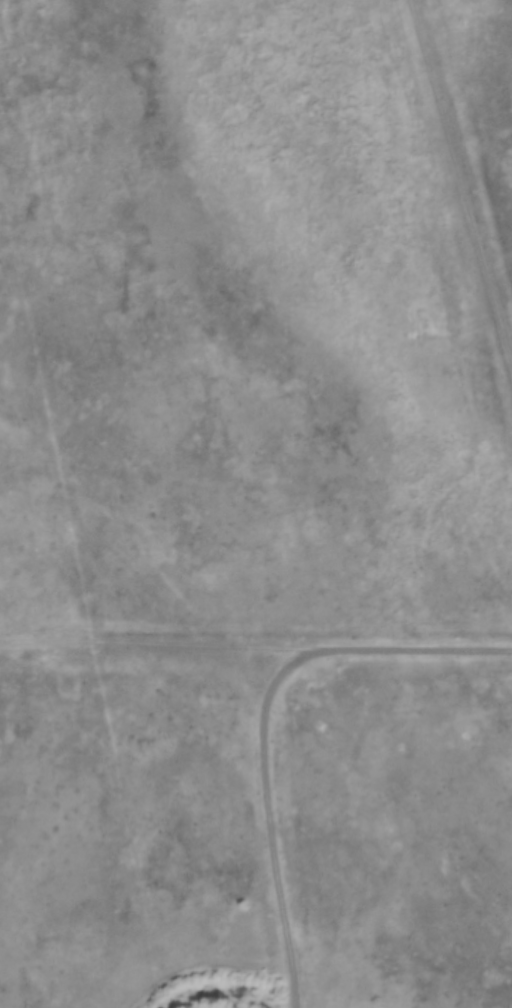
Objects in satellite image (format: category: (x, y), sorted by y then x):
road: (162, 642)
road: (265, 722)

